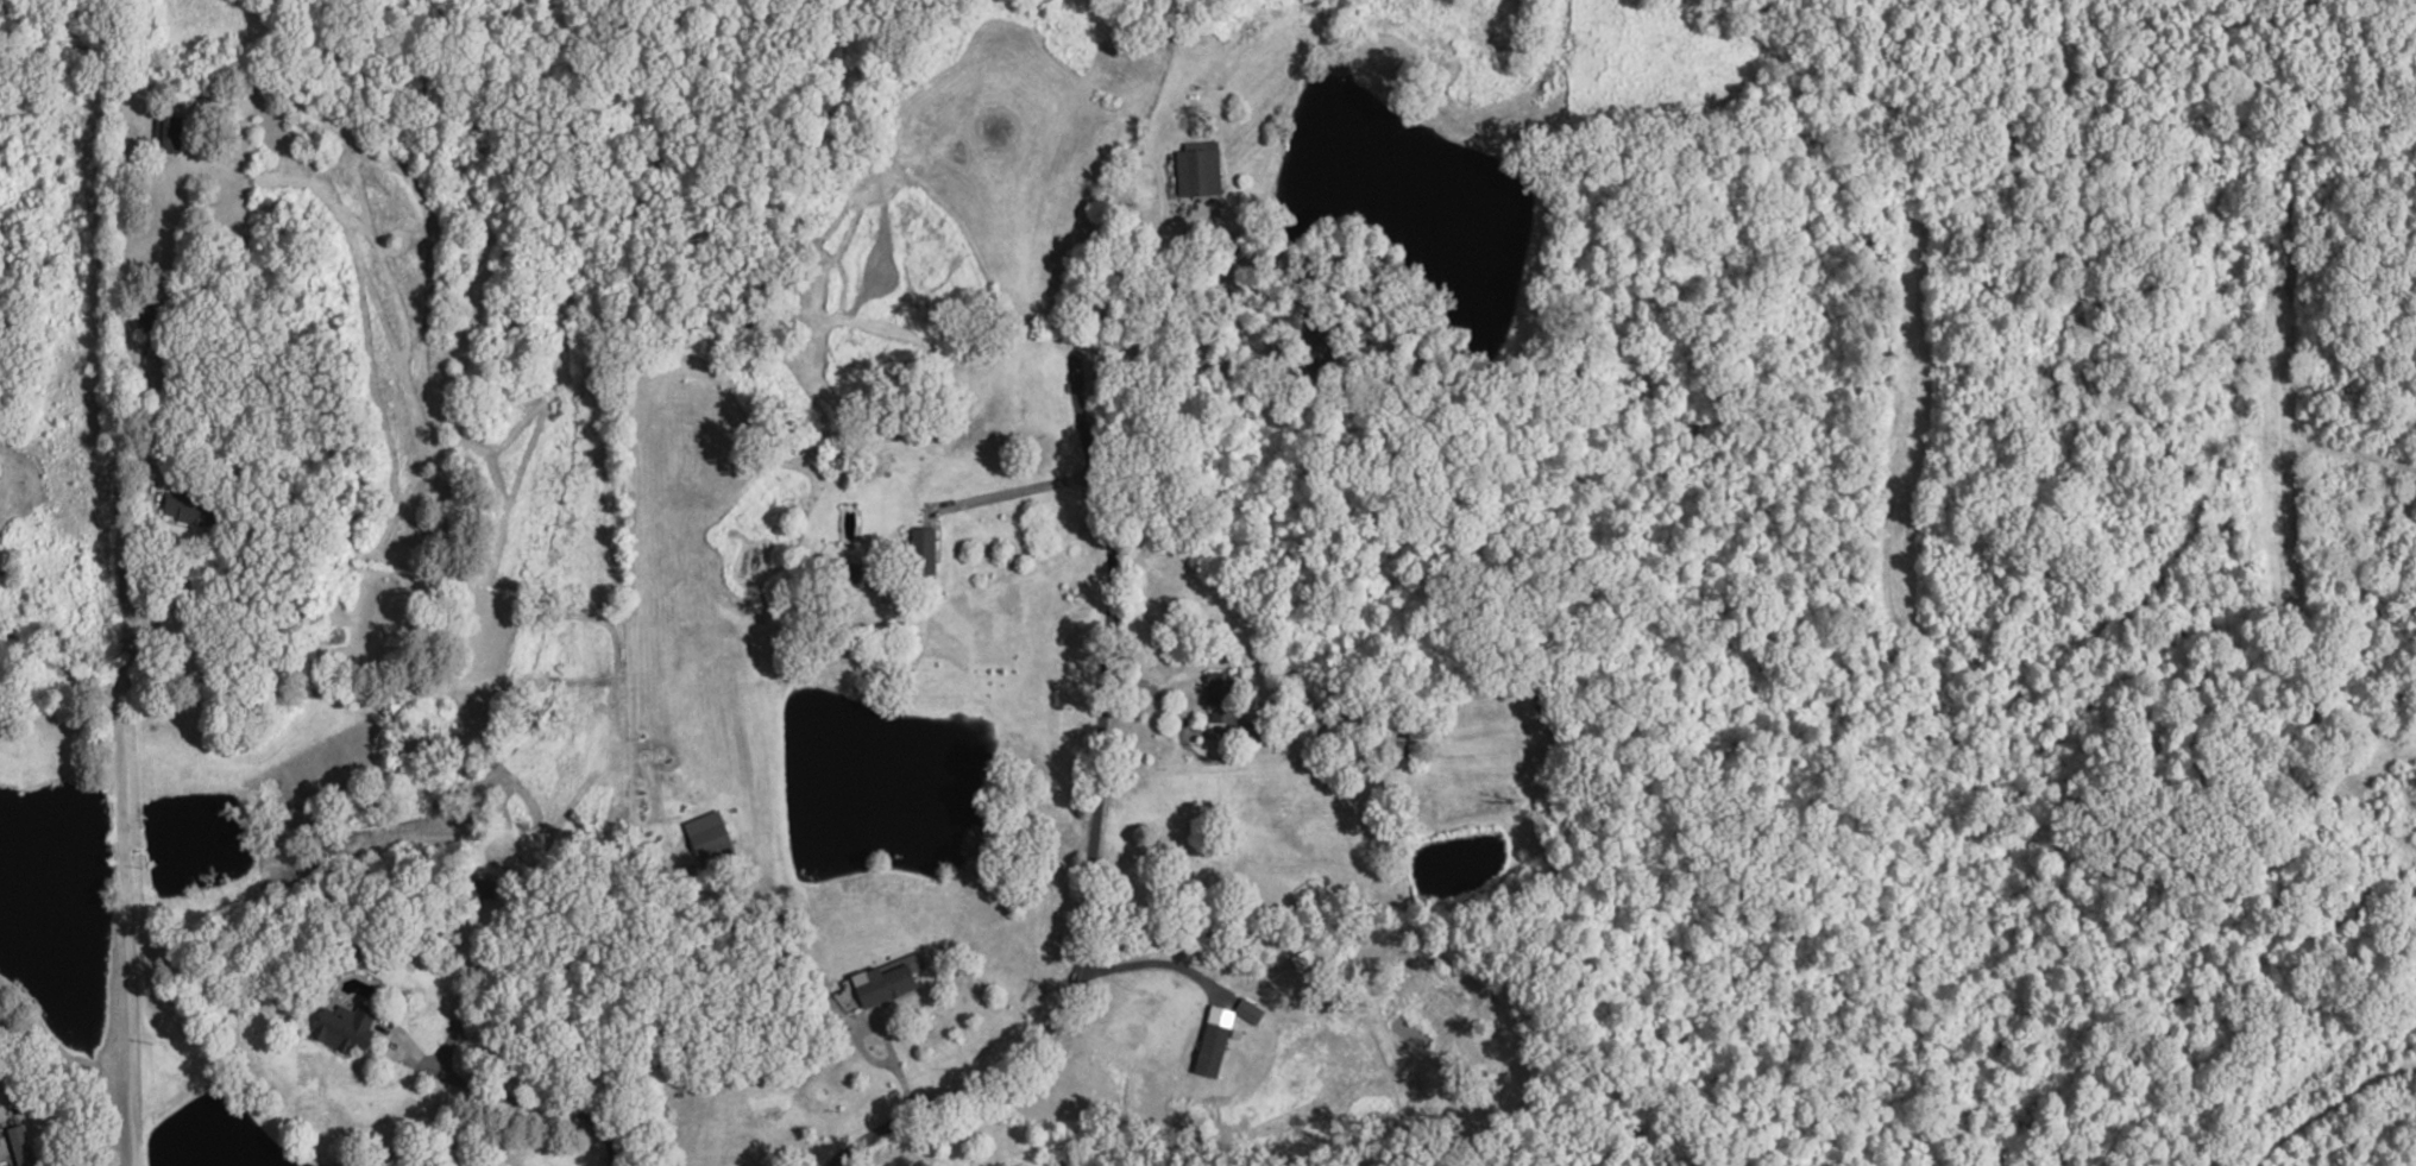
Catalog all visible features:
building: (163, 134)
building: (1194, 174)
road: (1130, 278)
building: (145, 316)
building: (1320, 340)
road: (1184, 371)
road: (1013, 493)
building: (187, 510)
building: (918, 555)
road: (56, 667)
building: (1215, 698)
road: (1162, 704)
road: (120, 814)
road: (1095, 824)
building: (704, 833)
road: (1151, 962)
building: (886, 978)
building: (847, 997)
building: (1247, 1010)
building: (340, 1027)
building: (1212, 1041)
road: (358, 1054)
road: (893, 1077)
road: (529, 1090)
building: (15, 1146)

